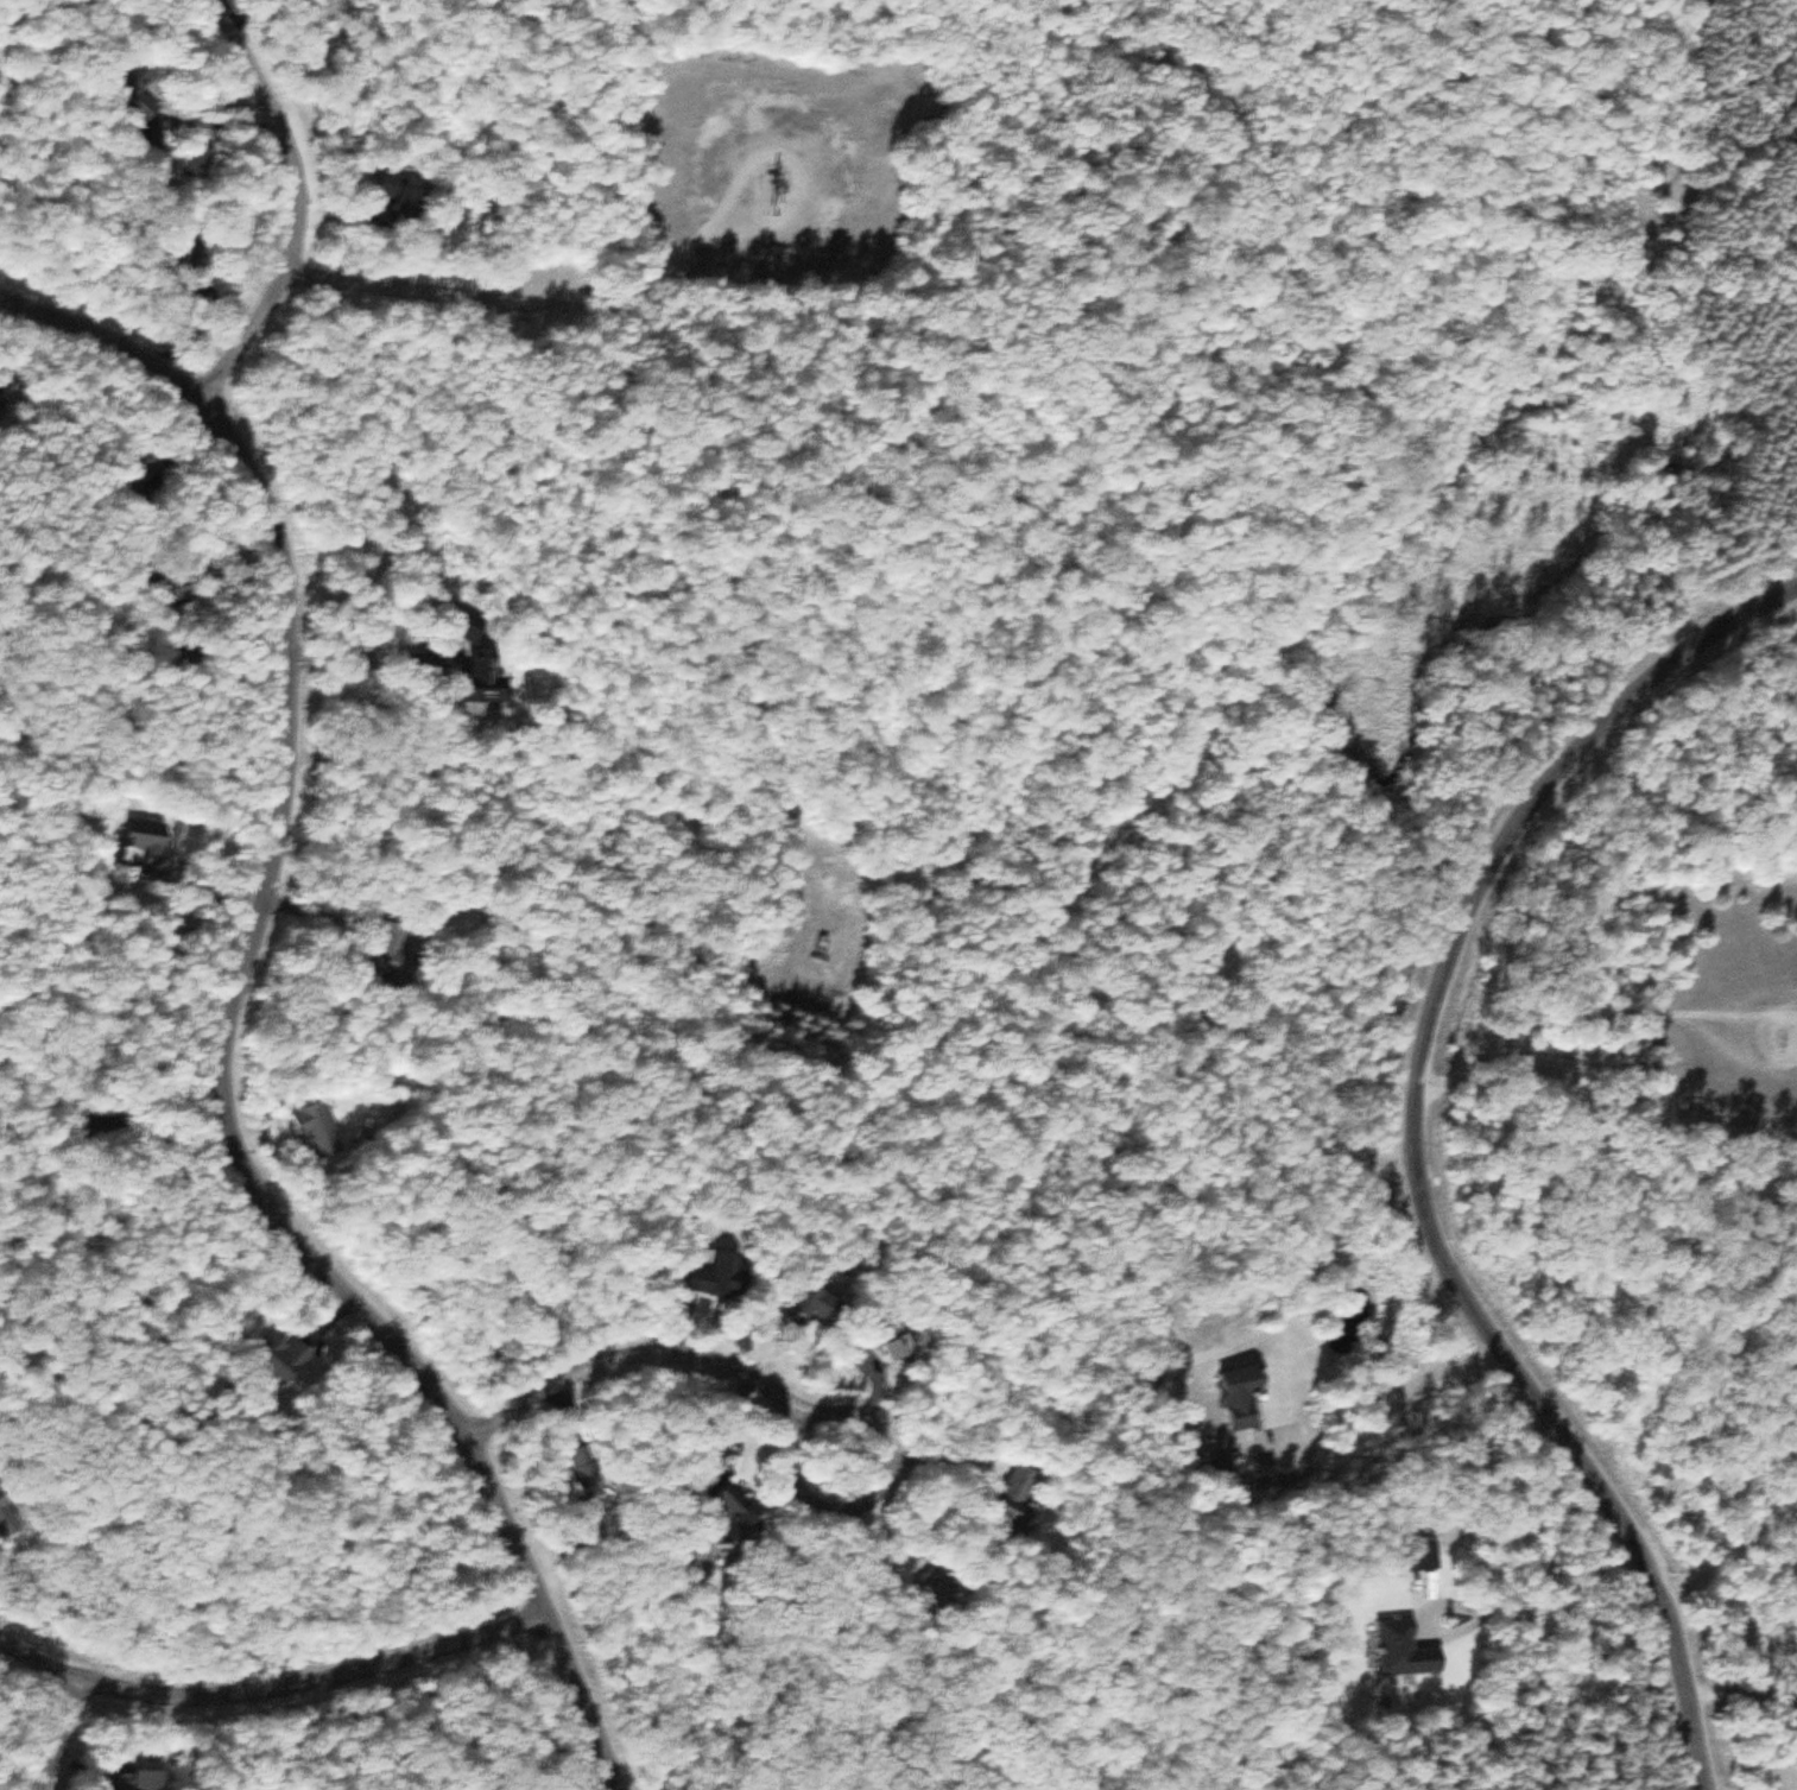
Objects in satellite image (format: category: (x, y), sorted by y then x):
petroleum well: (773, 176)
building: (392, 186)
road: (290, 203)
road: (506, 305)
road: (106, 339)
building: (491, 677)
building: (157, 837)
building: (824, 950)
road: (1602, 1011)
road: (228, 1050)
building: (322, 1131)
road: (1416, 1151)
building: (717, 1277)
building: (816, 1303)
building: (292, 1358)
building: (1229, 1397)
road: (783, 1419)
building: (591, 1472)
building: (8, 1512)
building: (747, 1514)
building: (1024, 1516)
building: (948, 1586)
building: (1394, 1650)
road: (290, 1684)
road: (1736, 1689)
road: (616, 1696)
road: (55, 1734)
building: (139, 1782)

